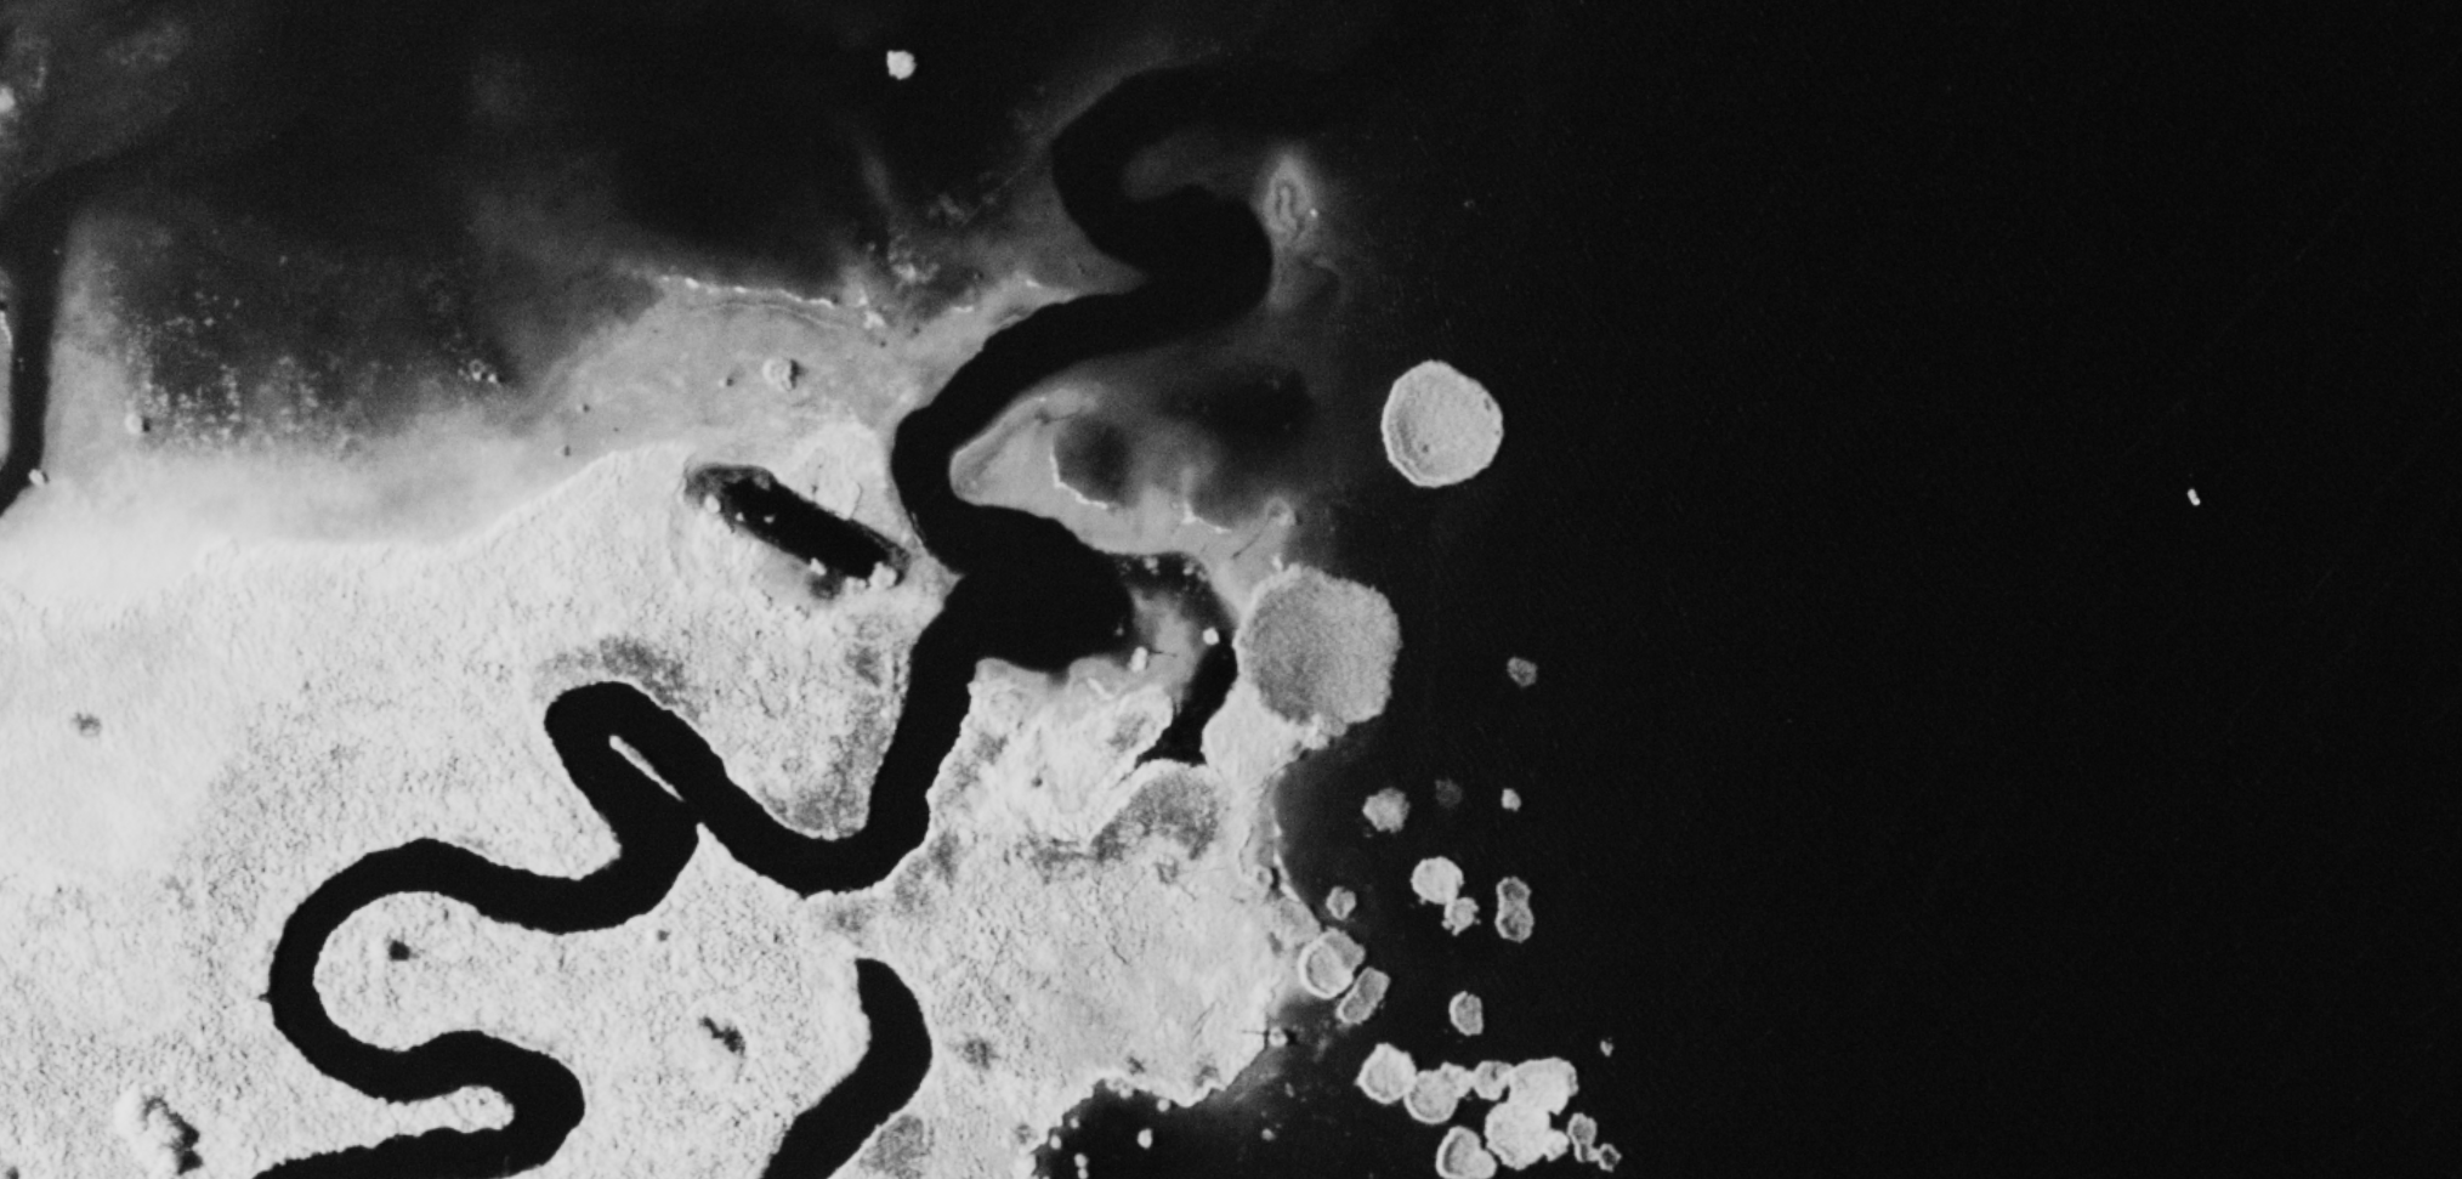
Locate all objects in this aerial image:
river: (2407, 1047)

